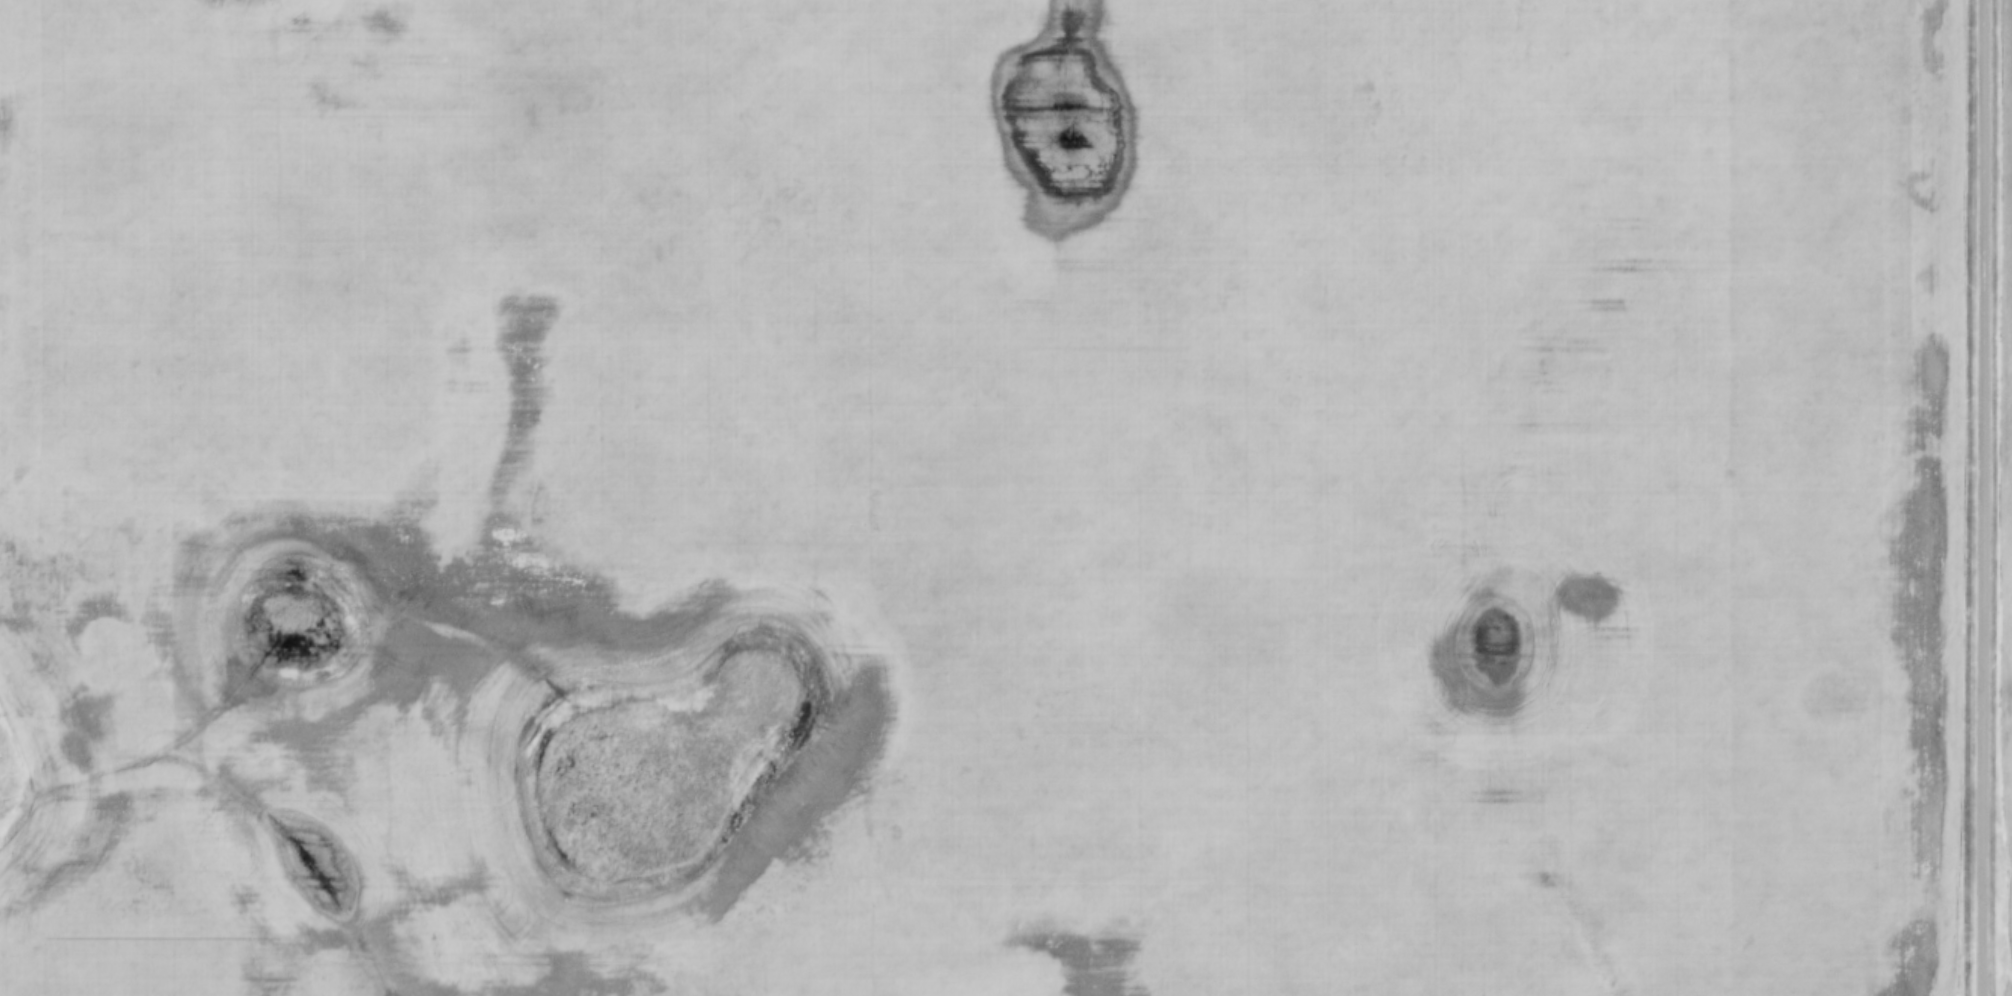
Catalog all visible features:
road: (1981, 497)

